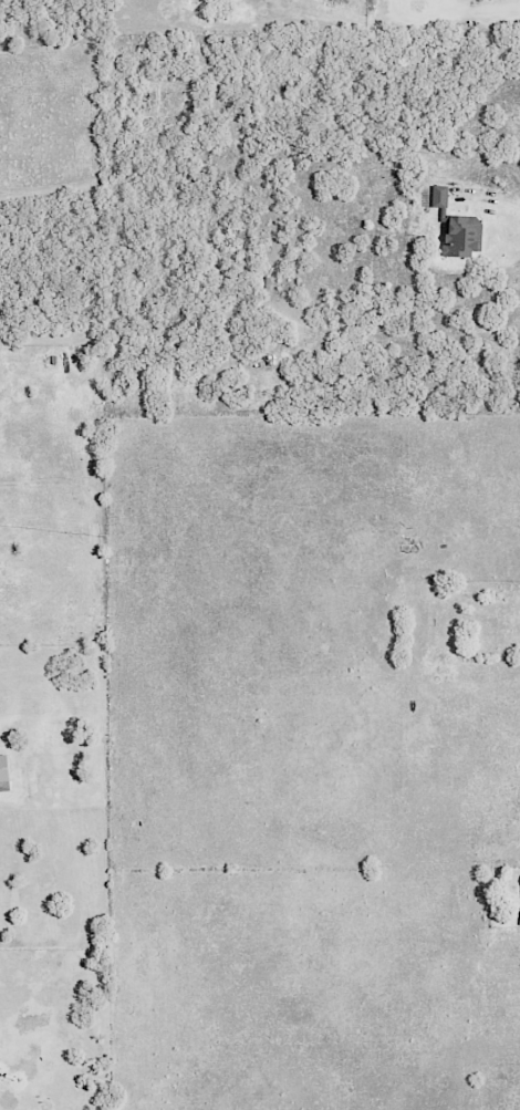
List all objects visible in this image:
road: (497, 4)
building: (460, 227)
building: (6, 772)

